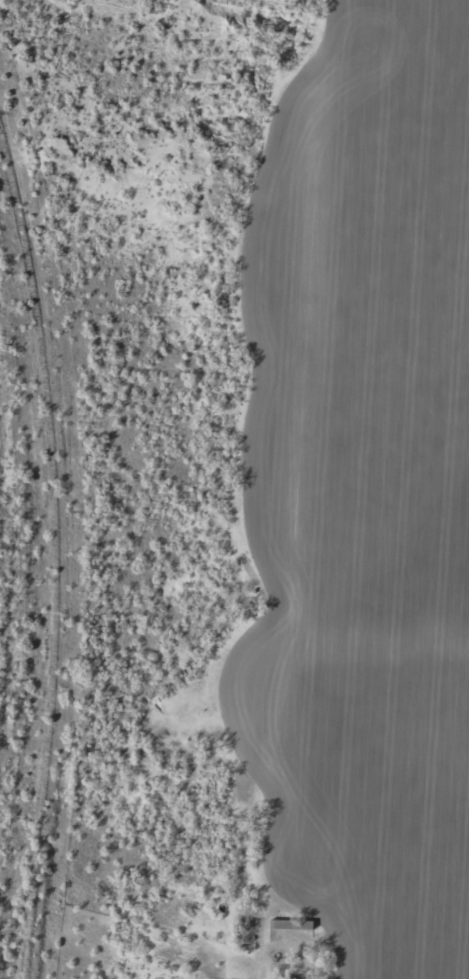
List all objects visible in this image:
railway: (49, 547)
building: (287, 924)
road: (249, 947)

